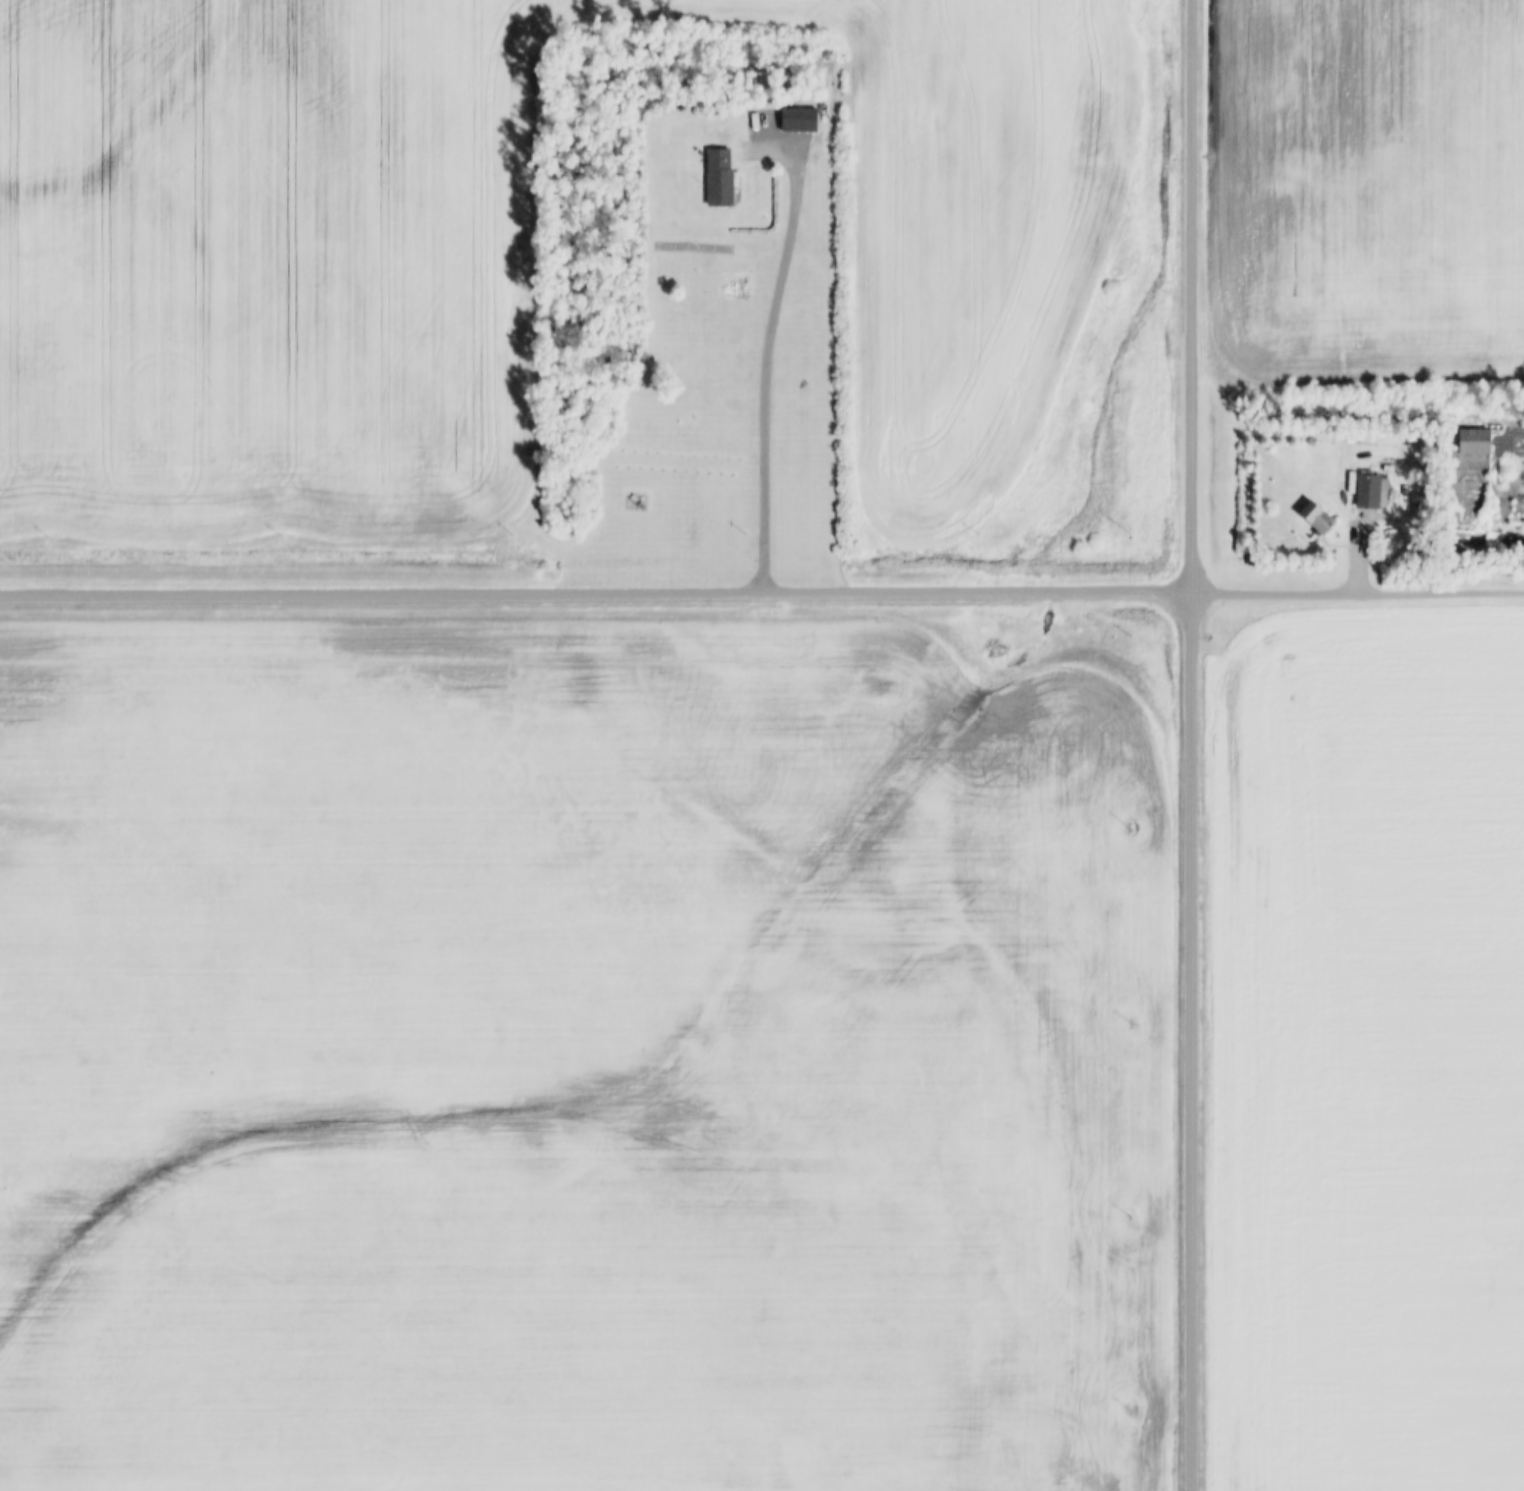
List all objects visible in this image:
building: (801, 120)
building: (722, 178)
road: (1191, 295)
road: (770, 342)
building: (1476, 441)
building: (1371, 491)
building: (1319, 518)
road: (1361, 556)
road: (595, 591)
road: (1441, 592)
road: (1274, 593)
road: (1191, 1040)

